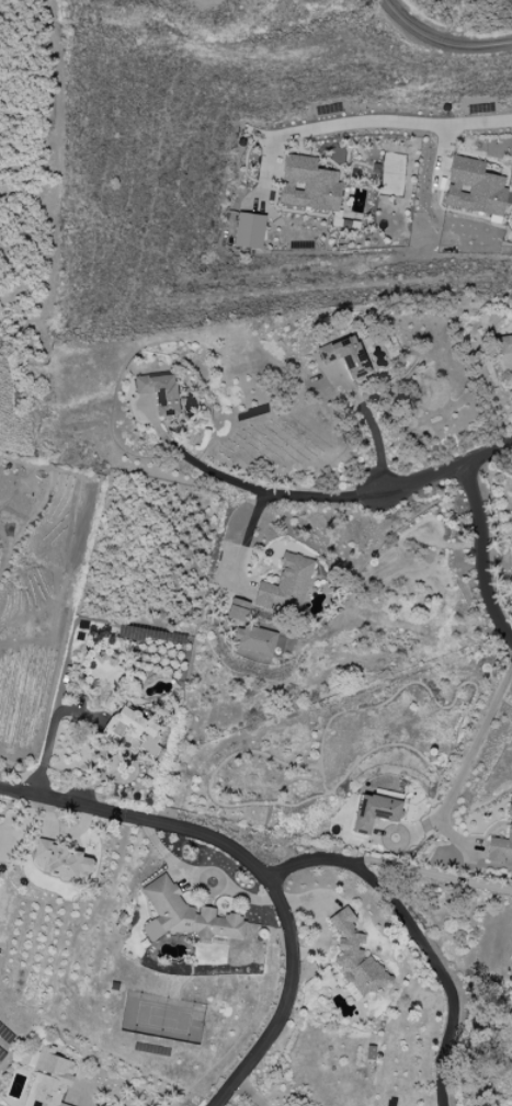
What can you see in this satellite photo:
road: (440, 42)
road: (391, 121)
building: (307, 184)
building: (474, 187)
building: (248, 230)
building: (503, 344)
building: (344, 356)
building: (159, 392)
road: (372, 427)
road: (189, 457)
road: (445, 468)
traffic signals: (379, 494)
road: (258, 502)
road: (475, 559)
building: (285, 585)
building: (237, 609)
building: (253, 640)
road: (69, 647)
building: (132, 729)
road: (476, 742)
building: (374, 812)
building: (501, 844)
building: (60, 860)
road: (255, 866)
road: (389, 866)
building: (183, 915)
building: (354, 959)
road: (442, 973)
building: (511, 1068)
road: (242, 1087)
road: (109, 1092)

